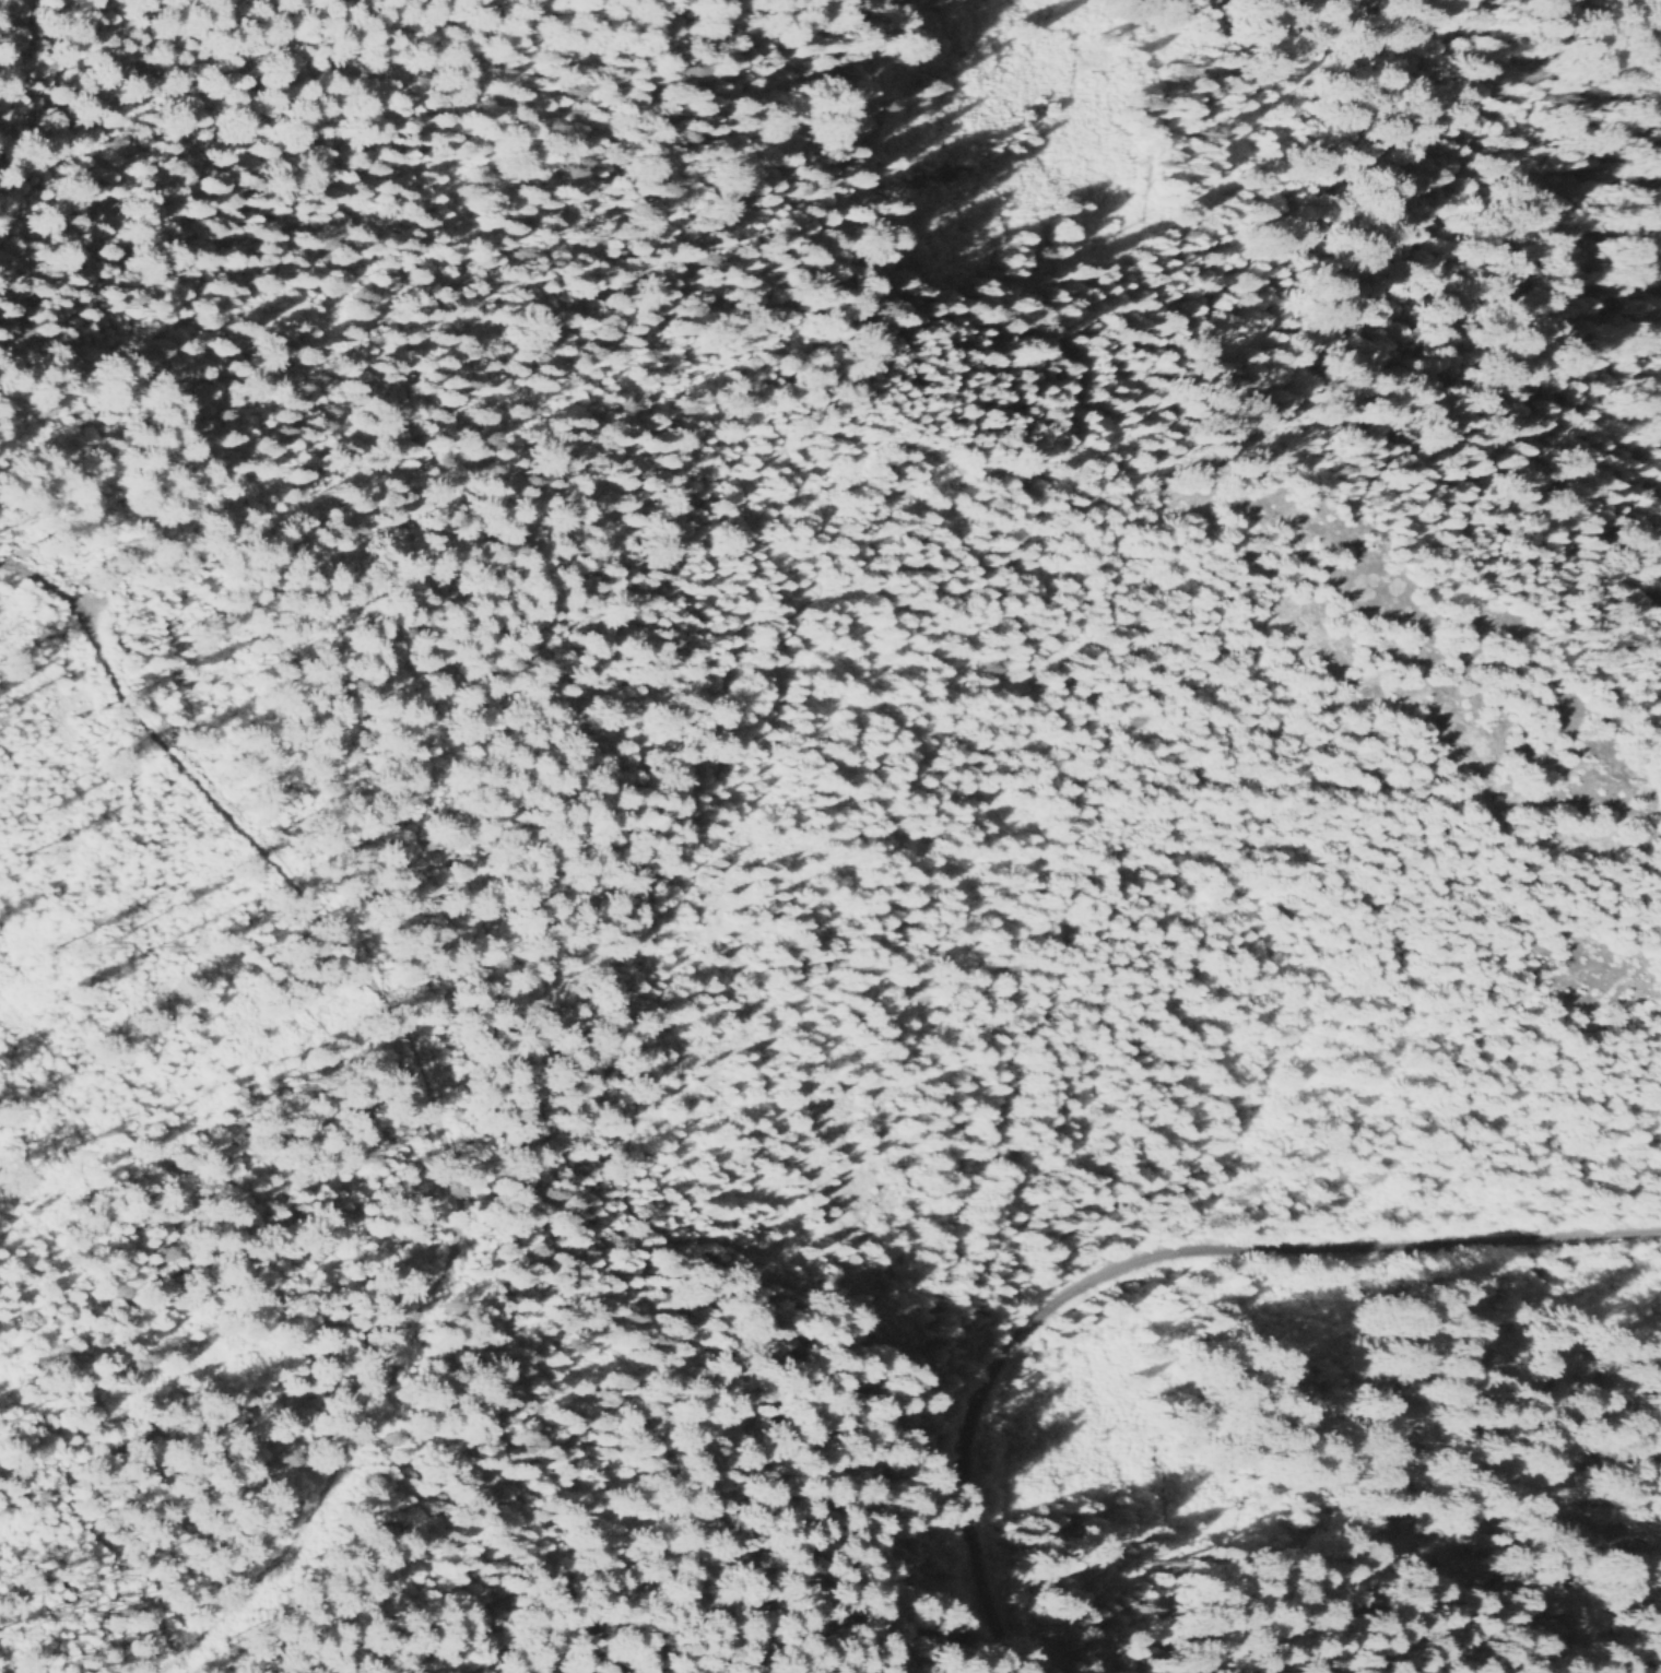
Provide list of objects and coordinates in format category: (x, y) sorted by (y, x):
road: (667, 871)
road: (412, 1097)
road: (1143, 1264)

